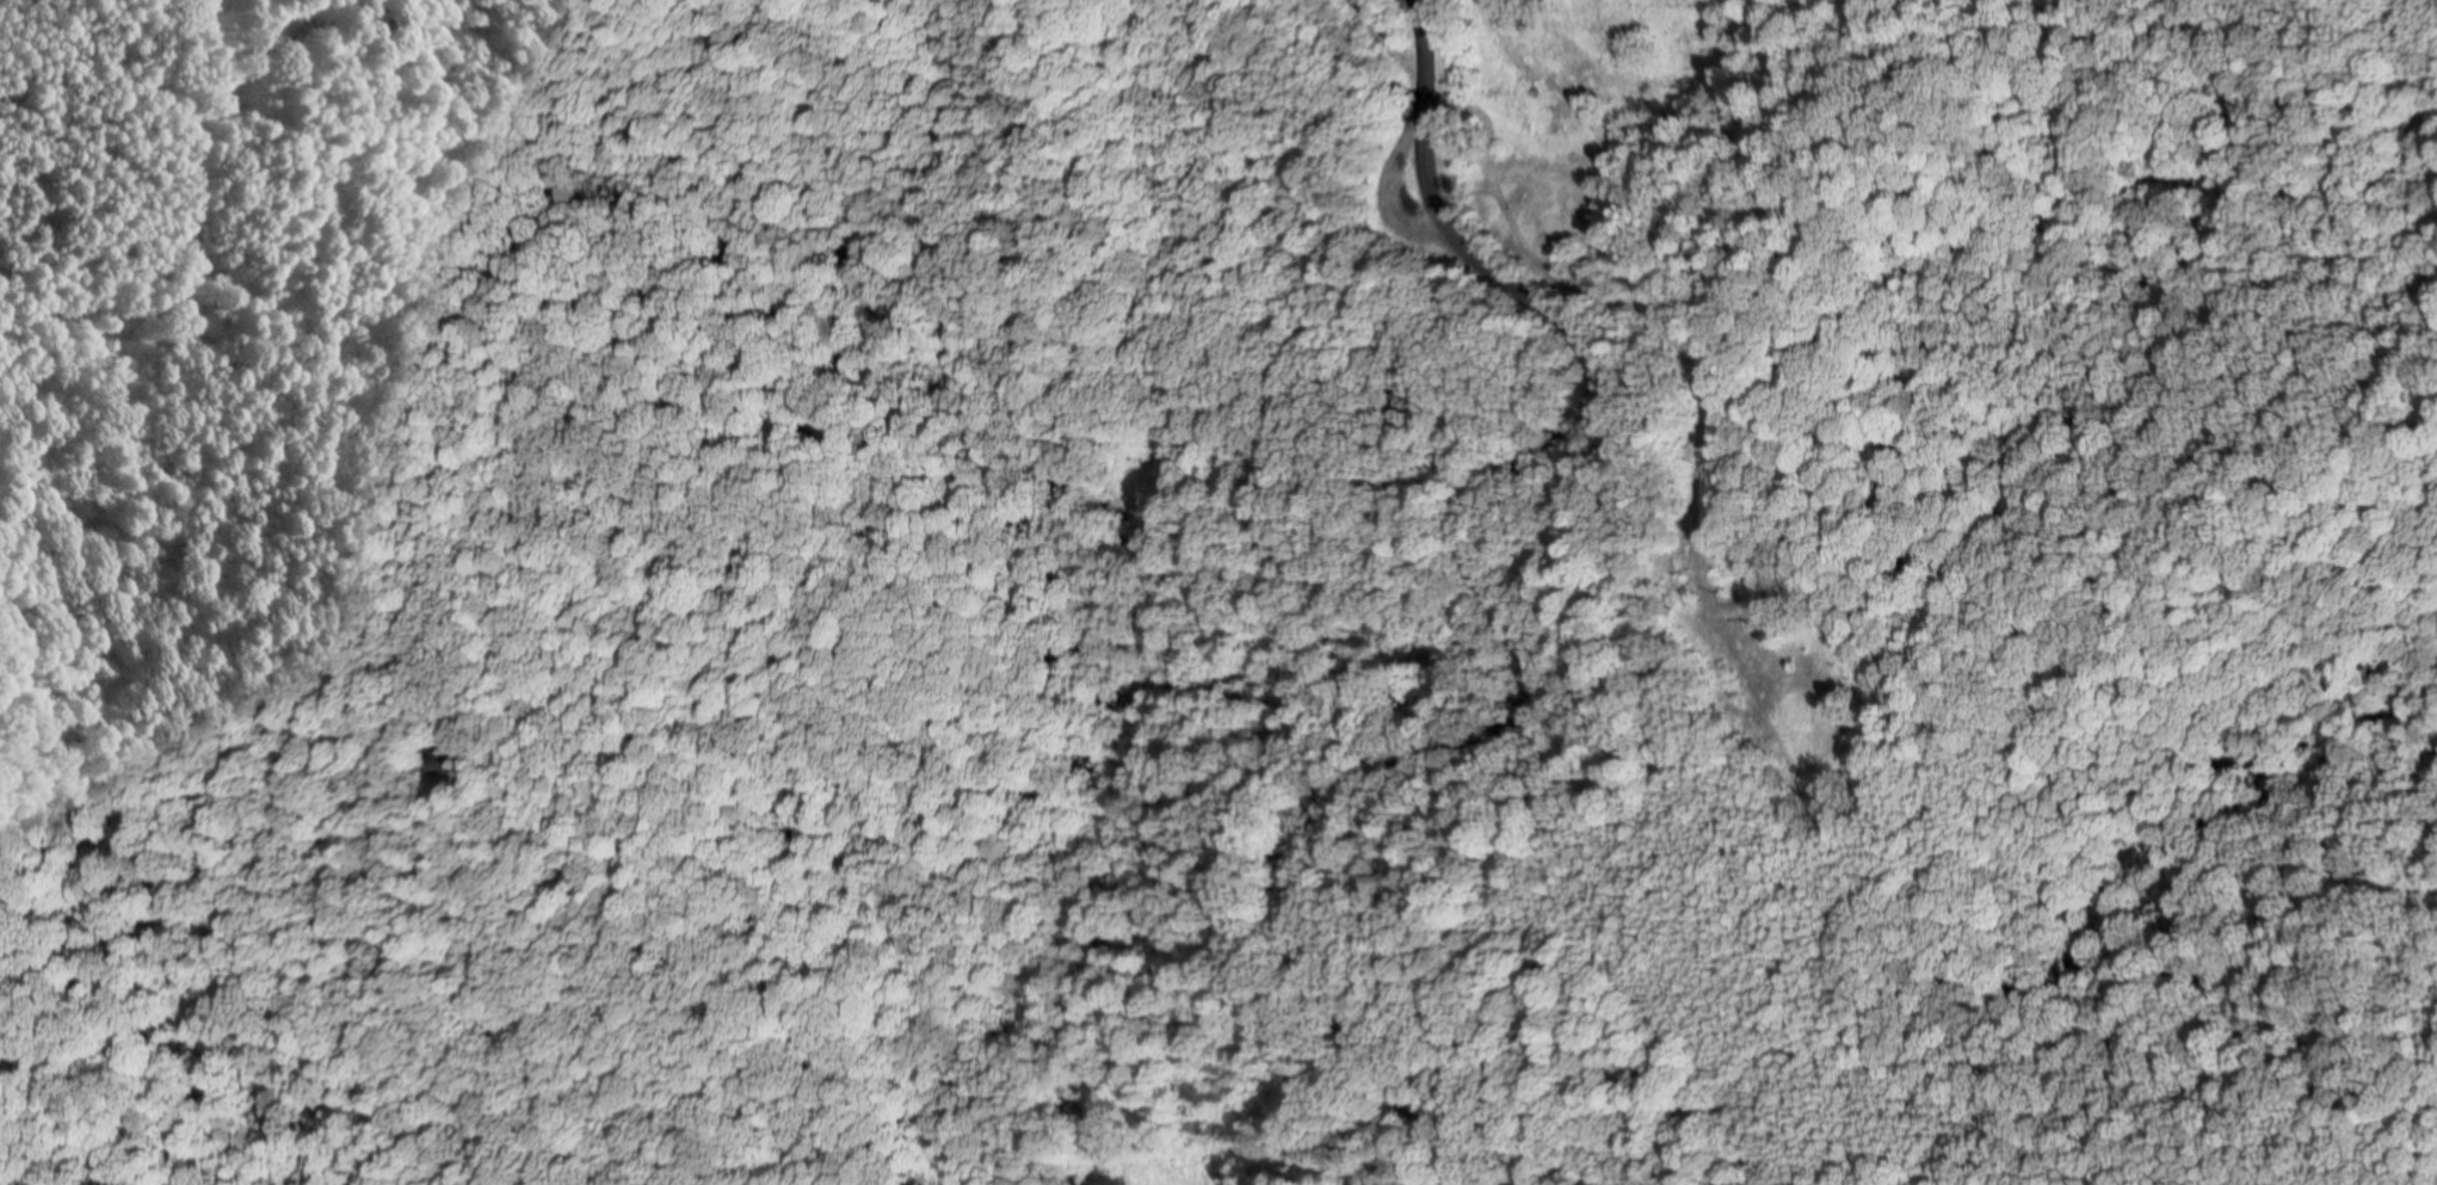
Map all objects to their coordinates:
road: (1384, 19)
road: (271, 329)
park: (1939, 605)
road: (1510, 632)
building: (457, 758)

